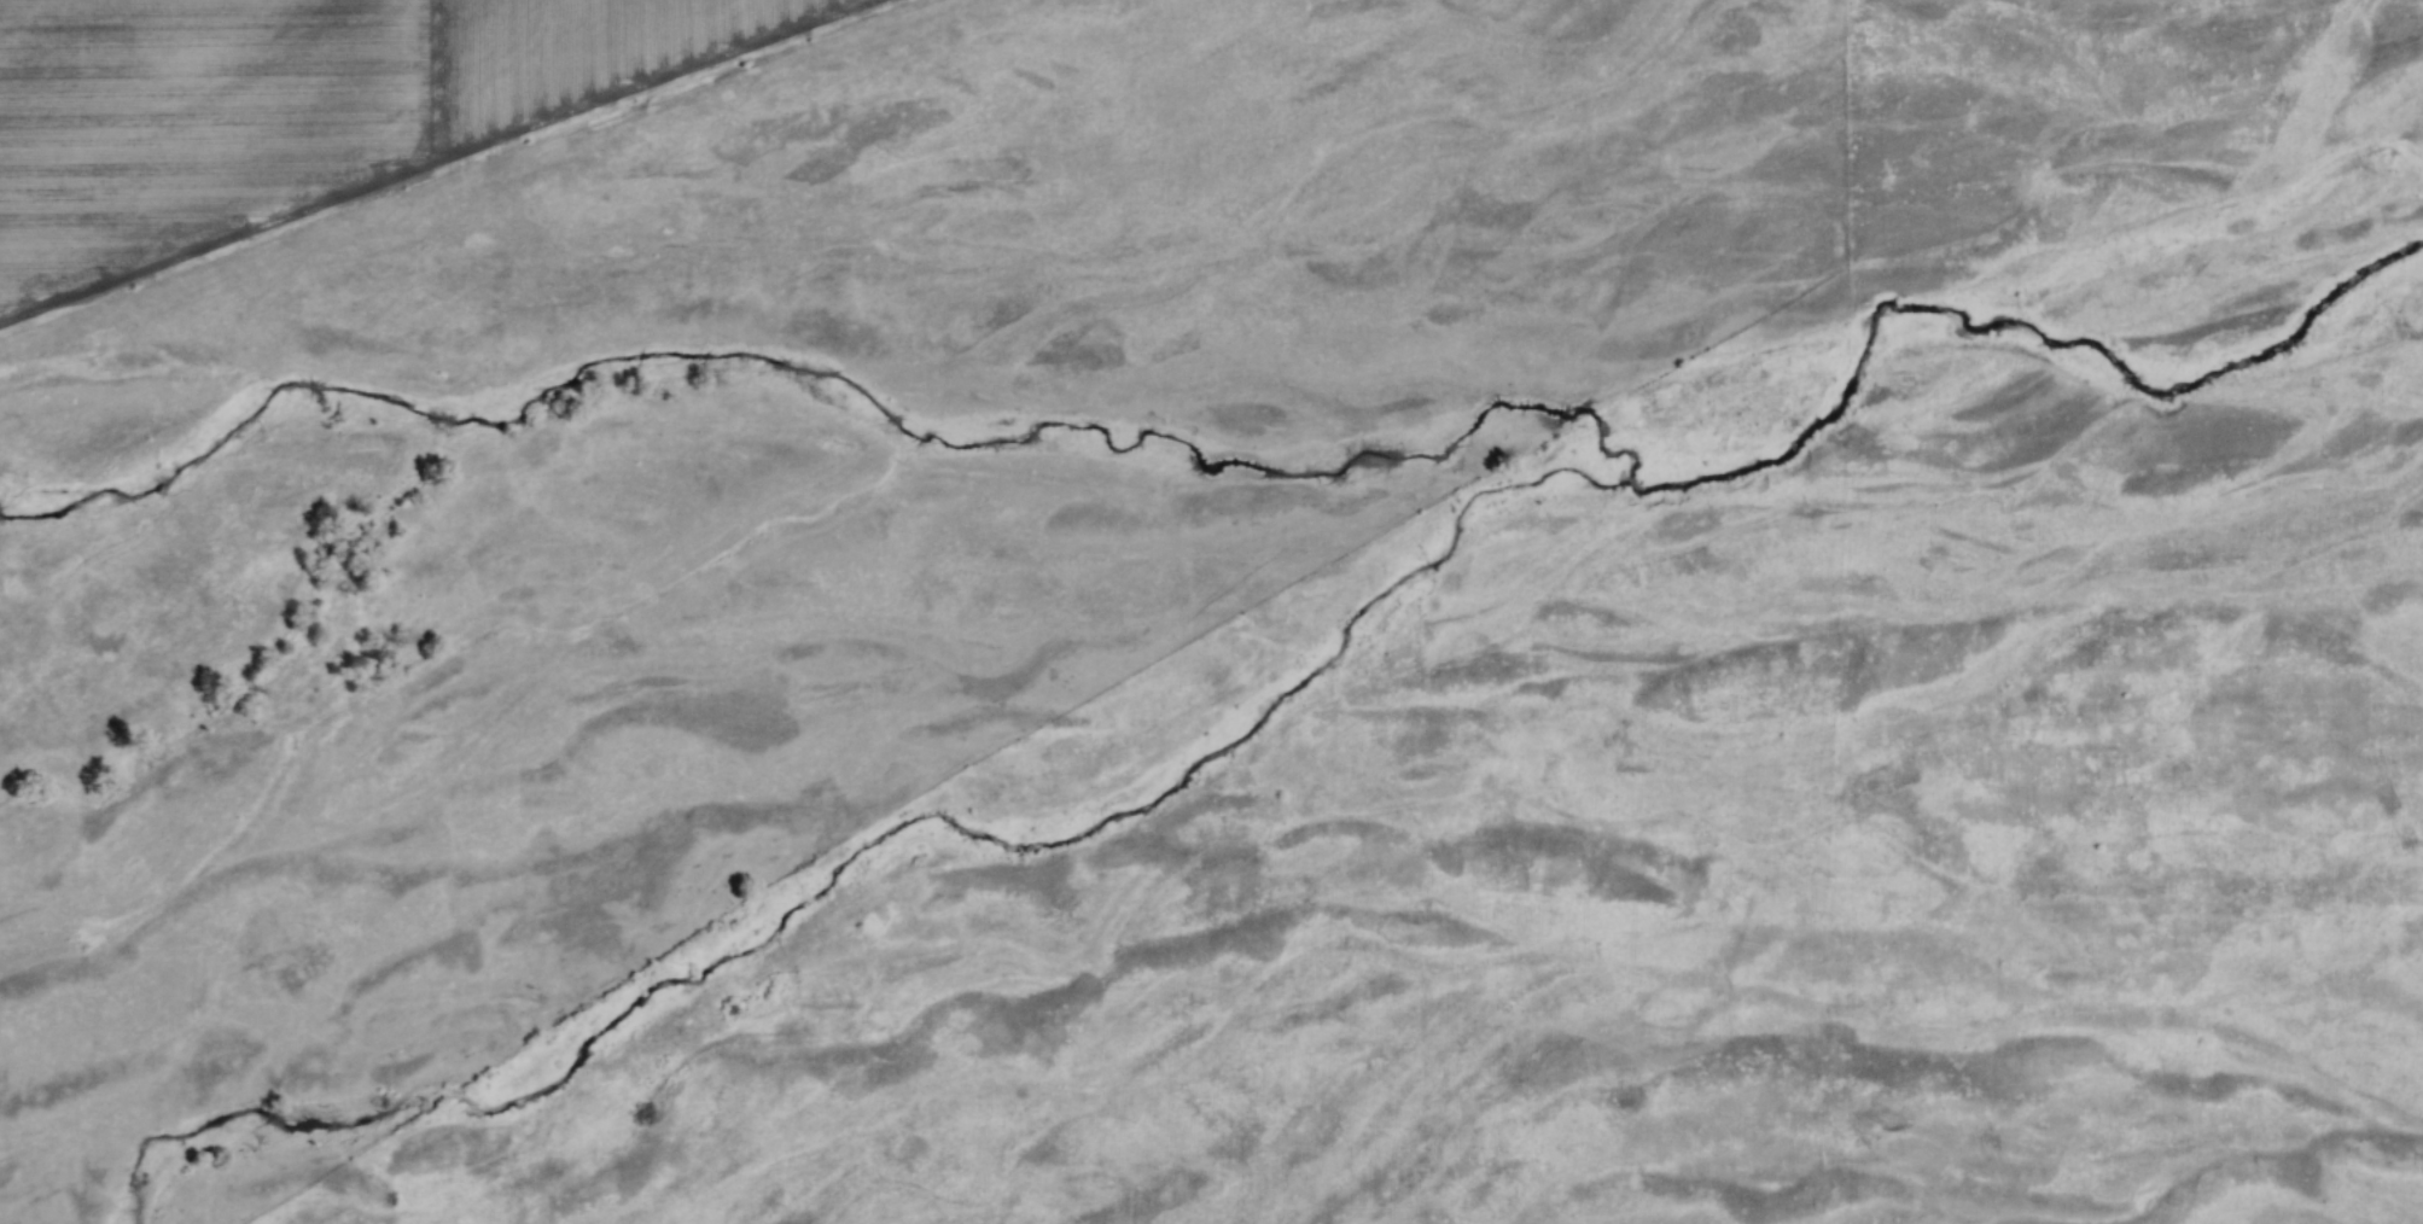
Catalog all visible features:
building: (328, 717)

